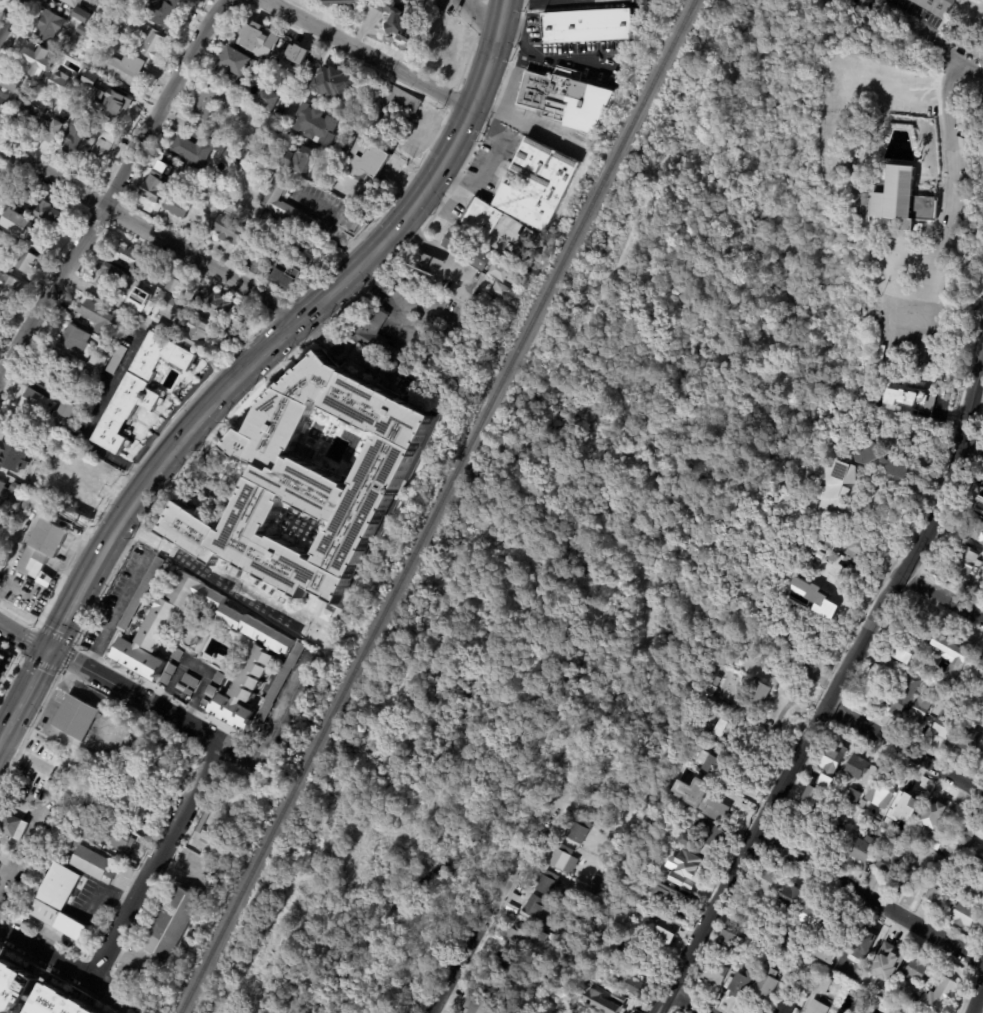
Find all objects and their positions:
building: (190, 0)
building: (414, 0)
road: (565, 0)
building: (89, 1)
road: (563, 1)
building: (71, 2)
building: (125, 2)
building: (343, 3)
building: (938, 6)
building: (161, 12)
road: (9, 15)
building: (82, 16)
road: (482, 17)
building: (398, 19)
building: (125, 21)
building: (49, 25)
building: (584, 25)
park: (965, 29)
building: (83, 31)
road: (923, 35)
building: (263, 40)
building: (73, 41)
building: (149, 42)
building: (296, 53)
road: (368, 53)
road: (559, 54)
building: (35, 58)
building: (80, 58)
building: (234, 64)
road: (312, 64)
building: (125, 70)
road: (499, 73)
road: (512, 75)
building: (88, 79)
building: (9, 81)
building: (58, 81)
building: (101, 82)
building: (333, 84)
building: (25, 88)
building: (566, 99)
building: (270, 101)
building: (4, 102)
building: (210, 102)
building: (114, 104)
building: (390, 104)
building: (69, 106)
building: (26, 112)
road: (529, 123)
building: (318, 126)
building: (38, 131)
building: (74, 141)
building: (106, 142)
building: (197, 149)
building: (234, 153)
road: (493, 154)
building: (300, 160)
building: (365, 160)
building: (161, 164)
building: (852, 165)
road: (951, 165)
building: (269, 175)
road: (52, 176)
building: (851, 177)
building: (225, 182)
building: (536, 182)
building: (4, 186)
building: (151, 187)
building: (232, 187)
road: (113, 189)
building: (209, 190)
building: (19, 198)
building: (897, 198)
building: (284, 203)
building: (176, 207)
building: (44, 212)
building: (353, 219)
building: (482, 219)
building: (16, 224)
building: (230, 230)
road: (413, 233)
road: (732, 237)
building: (0, 244)
building: (291, 245)
building: (36, 246)
building: (467, 252)
building: (519, 257)
building: (23, 260)
building: (134, 261)
road: (445, 261)
road: (201, 262)
building: (287, 273)
building: (109, 276)
road: (724, 279)
building: (503, 280)
building: (9, 285)
building: (173, 286)
road: (316, 302)
road: (395, 304)
building: (169, 305)
building: (212, 305)
building: (1, 308)
building: (146, 308)
road: (826, 311)
building: (101, 320)
building: (371, 332)
building: (198, 333)
building: (76, 341)
road: (346, 355)
building: (116, 360)
building: (96, 361)
road: (125, 369)
building: (56, 376)
building: (140, 390)
building: (907, 395)
building: (76, 397)
building: (92, 403)
building: (38, 405)
building: (65, 411)
road: (617, 421)
building: (17, 422)
road: (972, 442)
road: (535, 443)
building: (12, 456)
building: (881, 456)
building: (308, 482)
building: (8, 488)
building: (63, 489)
building: (837, 489)
power tower: (936, 489)
building: (23, 504)
building: (979, 505)
railway: (435, 506)
building: (859, 517)
building: (978, 533)
road: (531, 539)
park: (571, 541)
road: (922, 541)
building: (826, 545)
building: (861, 549)
building: (41, 551)
building: (821, 556)
building: (972, 566)
building: (982, 569)
road: (219, 577)
power tower: (901, 593)
building: (140, 595)
road: (941, 595)
building: (813, 597)
road: (64, 612)
road: (115, 612)
road: (302, 612)
building: (917, 623)
building: (814, 625)
road: (23, 634)
building: (908, 645)
traffic signals: (46, 648)
building: (277, 653)
building: (176, 655)
building: (955, 655)
building: (4, 659)
road: (16, 660)
road: (193, 667)
building: (981, 668)
building: (166, 675)
building: (880, 677)
building: (219, 679)
building: (189, 682)
building: (928, 682)
building: (179, 688)
building: (710, 689)
road: (25, 690)
building: (210, 692)
building: (907, 692)
building: (188, 694)
road: (497, 694)
building: (755, 699)
building: (296, 703)
building: (205, 704)
road: (279, 708)
road: (156, 709)
building: (922, 710)
building: (75, 717)
power tower: (829, 723)
building: (944, 724)
building: (730, 731)
road: (2, 737)
building: (972, 739)
building: (952, 743)
road: (904, 748)
building: (834, 758)
building: (716, 762)
building: (858, 767)
building: (703, 782)
building: (827, 782)
building: (882, 786)
building: (894, 789)
building: (853, 796)
building: (811, 798)
building: (656, 800)
building: (100, 803)
building: (862, 805)
building: (712, 806)
building: (907, 806)
building: (881, 811)
building: (935, 814)
building: (137, 815)
building: (672, 818)
building: (877, 823)
building: (12, 825)
building: (578, 831)
building: (881, 831)
building: (888, 833)
building: (970, 833)
building: (104, 834)
building: (702, 836)
building: (934, 842)
building: (552, 843)
building: (912, 847)
building: (863, 849)
building: (879, 850)
power tower: (755, 857)
road: (738, 858)
road: (154, 860)
building: (563, 860)
building: (889, 861)
building: (937, 862)
building: (90, 863)
building: (978, 864)
building: (690, 868)
road: (451, 871)
building: (911, 881)
building: (546, 883)
building: (596, 885)
building: (762, 886)
building: (974, 887)
building: (936, 894)
road: (869, 895)
building: (670, 897)
building: (790, 897)
road: (492, 898)
building: (54, 900)
building: (684, 903)
building: (534, 907)
building: (743, 907)
building: (816, 908)
building: (965, 916)
building: (810, 917)
building: (169, 923)
building: (775, 930)
building: (668, 932)
road: (347, 934)
building: (541, 936)
building: (517, 937)
building: (728, 940)
building: (865, 943)
building: (561, 944)
building: (824, 954)
building: (646, 956)
building: (889, 962)
building: (501, 964)
building: (740, 964)
road: (72, 968)
building: (916, 971)
building: (717, 974)
building: (814, 979)
power tower: (688, 983)
building: (742, 984)
building: (823, 984)
building: (765, 986)
building: (634, 987)
building: (13, 988)
building: (491, 988)
building: (944, 993)
road: (977, 998)
building: (60, 1002)
road: (684, 1002)
building: (912, 1002)
building: (787, 1004)
building: (614, 1005)
building: (862, 1005)
building: (478, 1007)
building: (818, 1007)

